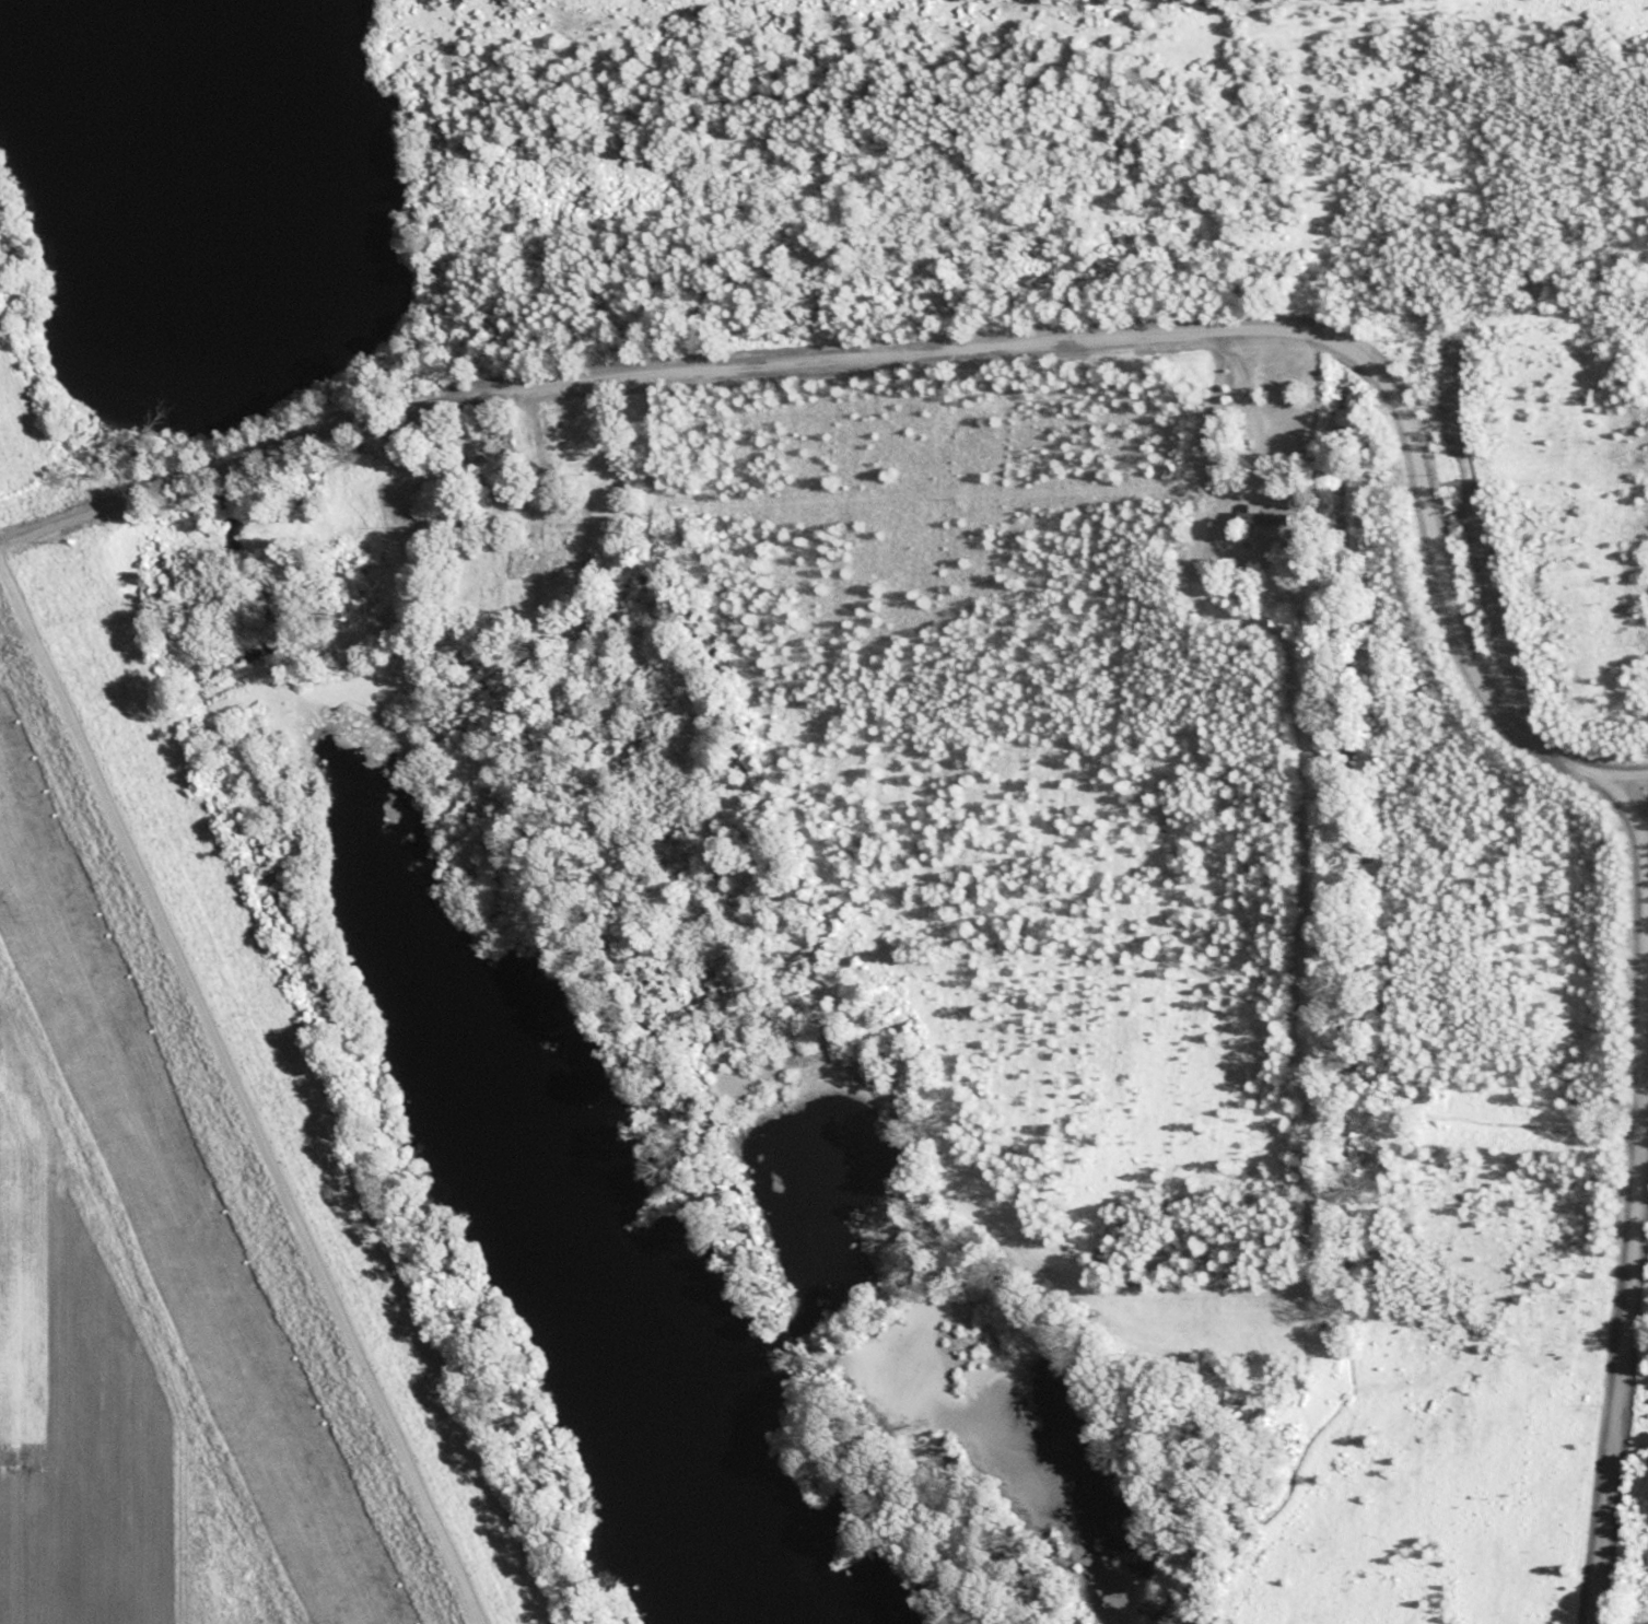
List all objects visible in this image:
road: (946, 357)
road: (1618, 796)
road: (238, 1093)
road: (1629, 1219)

